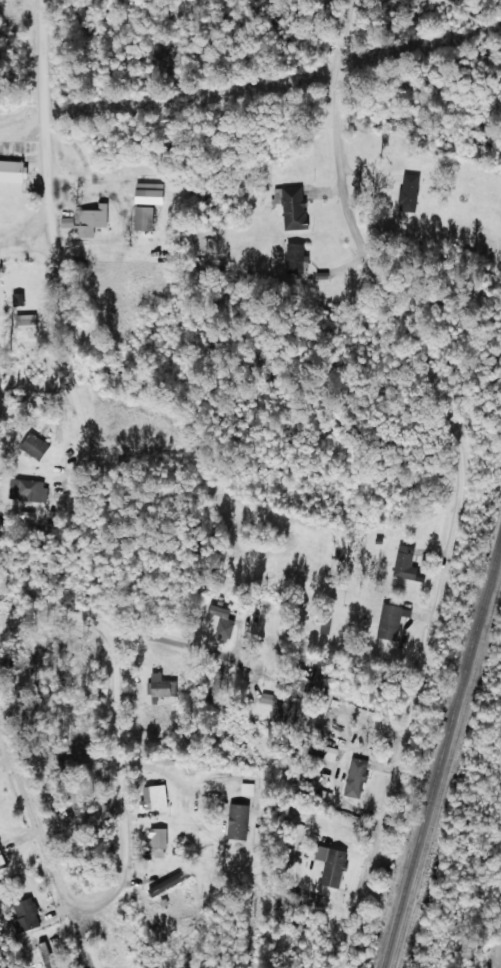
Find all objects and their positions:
building: (11, 171)
building: (146, 192)
building: (408, 193)
road: (75, 203)
building: (293, 207)
building: (141, 217)
building: (85, 220)
building: (293, 258)
road: (427, 378)
building: (34, 446)
building: (26, 489)
building: (407, 565)
road: (143, 602)
building: (390, 621)
building: (222, 623)
building: (324, 624)
building: (161, 686)
building: (281, 705)
road: (110, 747)
railway: (443, 755)
railway: (446, 770)
building: (354, 777)
building: (246, 789)
building: (152, 797)
building: (236, 821)
building: (157, 841)
road: (47, 842)
building: (2, 861)
building: (330, 865)
building: (168, 882)
building: (26, 914)
building: (45, 954)
railway: (499, 961)

